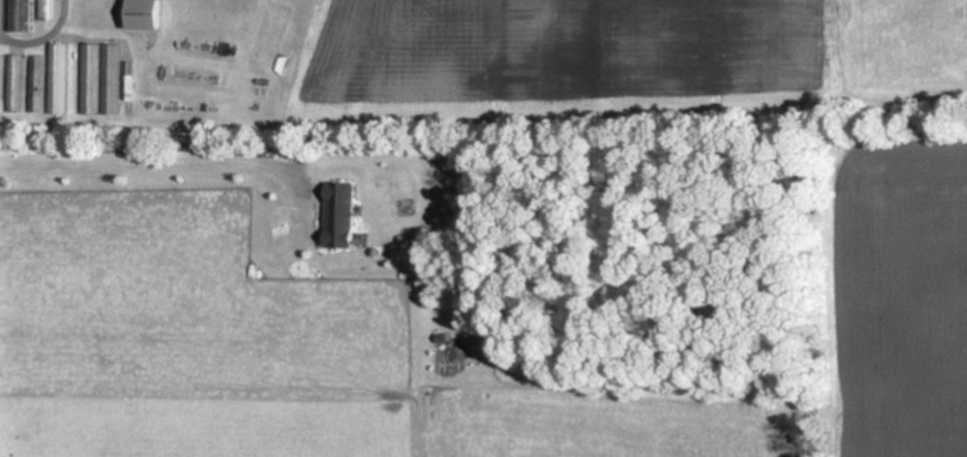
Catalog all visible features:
building: (144, 14)
building: (22, 15)
crop: (480, 68)
building: (58, 79)
building: (91, 79)
building: (111, 79)
building: (15, 82)
building: (36, 83)
building: (340, 213)

